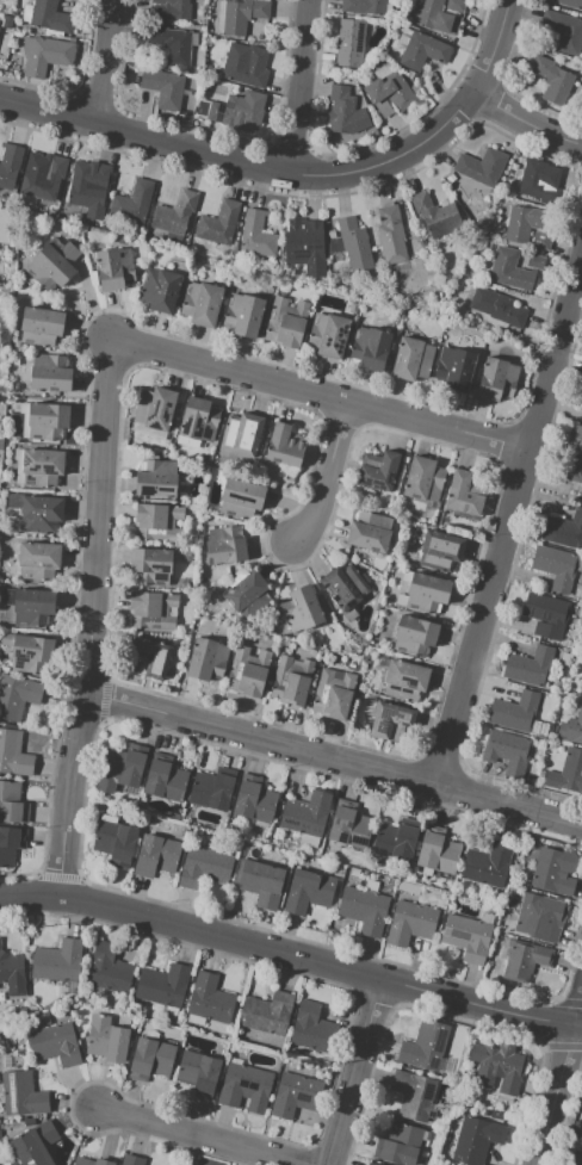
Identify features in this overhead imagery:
building: (569, 2)
building: (454, 5)
building: (364, 6)
building: (172, 8)
building: (242, 14)
building: (50, 17)
building: (435, 17)
building: (7, 21)
building: (565, 32)
building: (351, 42)
building: (171, 43)
road: (499, 48)
building: (422, 51)
building: (45, 56)
road: (106, 61)
building: (242, 67)
building: (556, 81)
building: (163, 87)
road: (302, 87)
building: (389, 91)
building: (239, 111)
building: (345, 112)
road: (527, 124)
road: (247, 163)
building: (10, 165)
building: (482, 166)
building: (44, 179)
building: (537, 182)
building: (83, 186)
building: (131, 202)
building: (174, 213)
building: (435, 215)
building: (525, 223)
building: (218, 224)
building: (256, 234)
building: (391, 235)
building: (540, 240)
building: (305, 243)
building: (354, 244)
building: (535, 261)
building: (52, 264)
building: (113, 268)
building: (509, 269)
building: (159, 290)
building: (200, 303)
building: (499, 308)
building: (243, 315)
building: (286, 322)
building: (41, 326)
building: (328, 334)
building: (370, 347)
building: (411, 359)
building: (453, 367)
building: (49, 373)
building: (496, 379)
road: (322, 395)
building: (581, 399)
building: (154, 408)
building: (43, 420)
building: (198, 420)
building: (241, 434)
building: (576, 438)
building: (1, 445)
building: (285, 446)
building: (42, 467)
building: (569, 467)
building: (378, 470)
road: (328, 475)
building: (156, 478)
building: (422, 479)
building: (464, 494)
building: (580, 494)
building: (240, 497)
building: (37, 512)
road: (101, 518)
building: (156, 521)
road: (510, 522)
building: (370, 531)
building: (563, 531)
building: (224, 545)
building: (440, 550)
building: (37, 559)
building: (150, 566)
building: (555, 566)
building: (343, 587)
building: (426, 593)
building: (248, 595)
building: (29, 606)
building: (151, 609)
building: (303, 609)
building: (547, 614)
building: (414, 634)
building: (29, 652)
building: (149, 657)
building: (206, 658)
building: (528, 665)
building: (247, 671)
building: (578, 678)
building: (405, 680)
building: (291, 681)
building: (333, 694)
building: (18, 696)
building: (515, 713)
building: (390, 721)
building: (571, 727)
road: (236, 735)
building: (507, 750)
building: (13, 754)
building: (120, 768)
building: (566, 773)
building: (165, 781)
building: (211, 791)
building: (254, 800)
building: (12, 803)
building: (305, 813)
building: (349, 828)
building: (114, 842)
building: (395, 842)
building: (11, 844)
building: (438, 854)
building: (156, 856)
building: (488, 865)
building: (204, 867)
building: (555, 870)
building: (353, 872)
building: (260, 880)
building: (371, 886)
building: (308, 891)
building: (364, 910)
building: (540, 916)
building: (410, 923)
building: (466, 936)
road: (291, 956)
building: (57, 960)
building: (525, 960)
building: (109, 969)
building: (12, 973)
building: (162, 985)
building: (210, 999)
building: (266, 1012)
building: (312, 1029)
building: (106, 1039)
building: (55, 1043)
building: (425, 1046)
building: (150, 1059)
building: (499, 1066)
building: (198, 1073)
road: (357, 1073)
road: (559, 1082)
building: (244, 1086)
building: (23, 1093)
building: (295, 1095)
building: (414, 1096)
building: (495, 1115)
road: (204, 1136)
building: (475, 1140)
building: (35, 1144)
building: (398, 1145)
building: (577, 1158)
building: (131, 1160)
building: (91, 1161)
building: (373, 1164)

